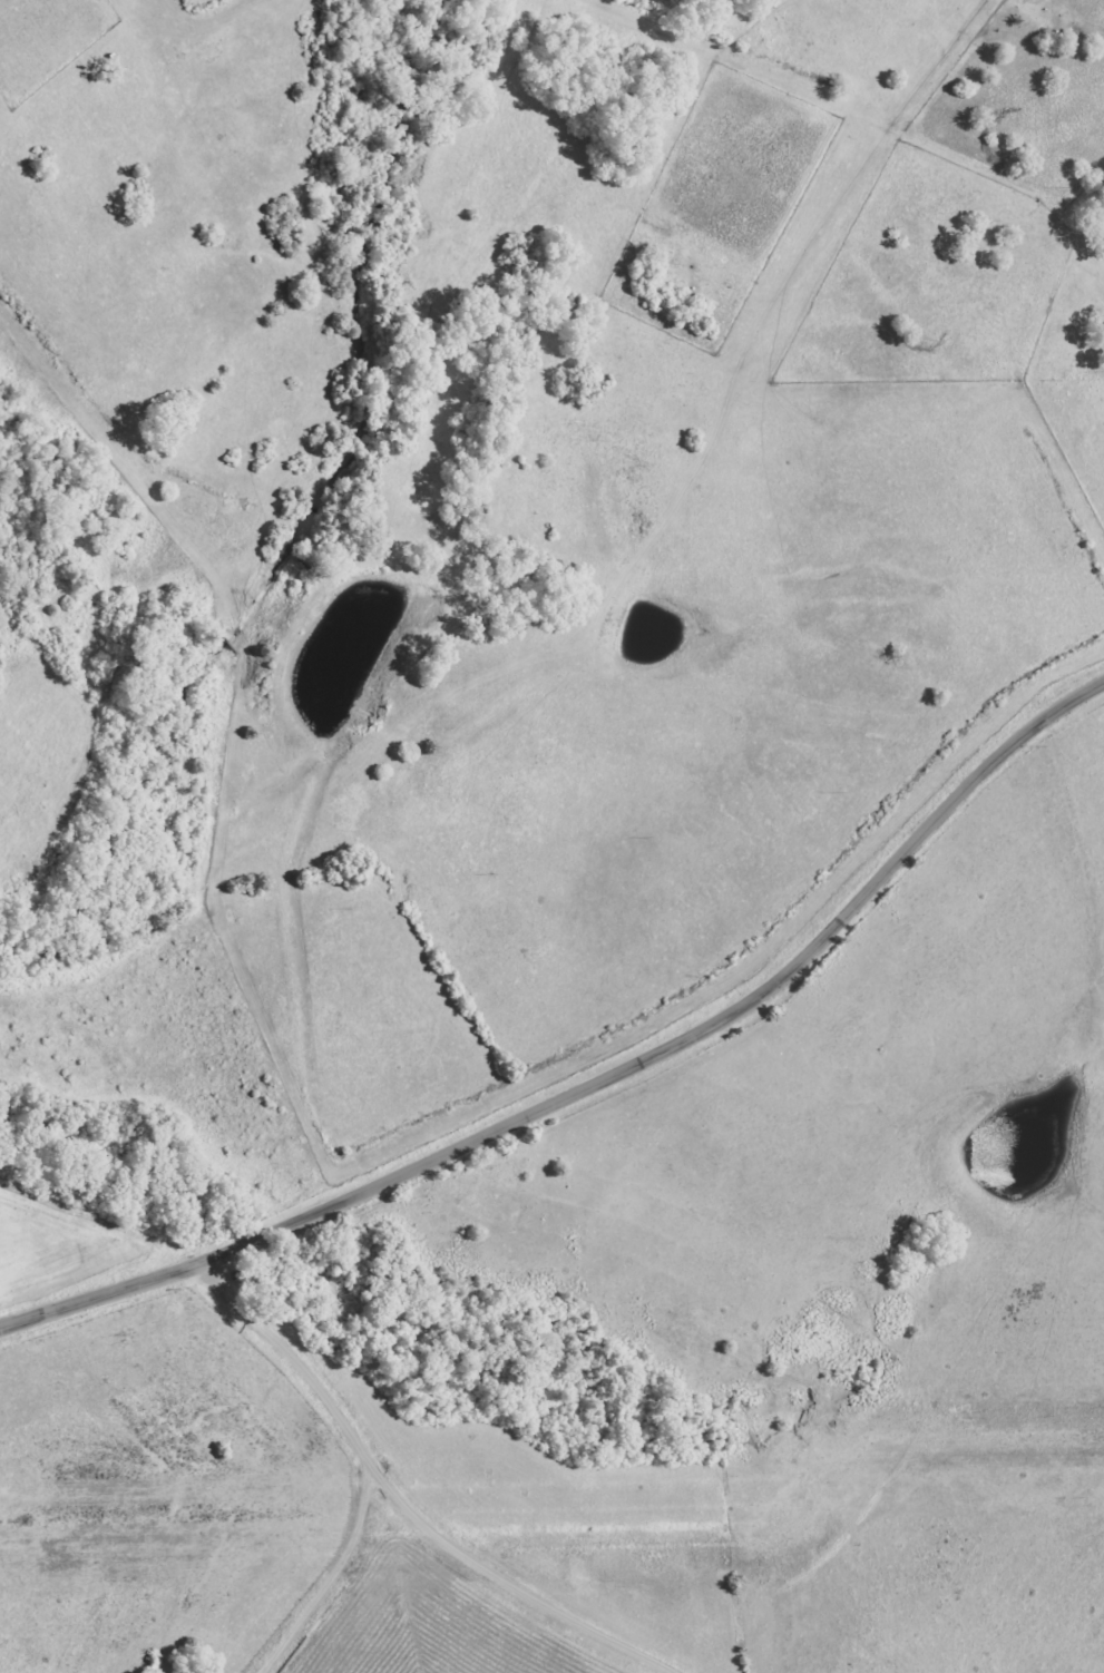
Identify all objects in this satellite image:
road: (1094, 327)
road: (599, 1084)
road: (403, 1503)
road: (345, 1594)

